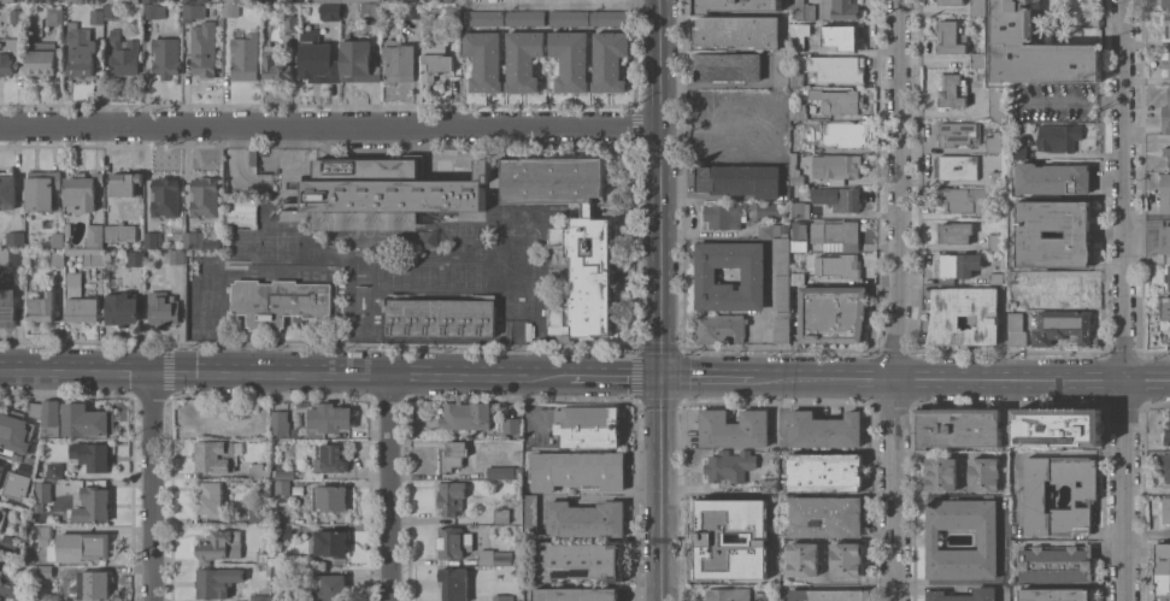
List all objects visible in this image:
building: (23, 0)
building: (69, 0)
building: (120, 0)
building: (154, 0)
building: (221, 0)
building: (284, 0)
building: (328, 0)
building: (408, 0)
building: (7, 1)
building: (196, 1)
building: (235, 1)
building: (361, 1)
building: (388, 1)
building: (453, 1)
road: (562, 1)
building: (951, 1)
building: (1166, 4)
building: (733, 5)
building: (978, 7)
building: (233, 8)
building: (840, 10)
building: (112, 11)
building: (153, 11)
building: (192, 11)
building: (331, 11)
building: (372, 11)
building: (413, 11)
building: (801, 11)
building: (98, 14)
building: (16, 16)
building: (54, 16)
building: (454, 16)
building: (610, 17)
building: (484, 18)
building: (525, 18)
building: (570, 18)
building: (976, 22)
building: (1168, 23)
building: (739, 31)
building: (799, 36)
building: (842, 36)
building: (952, 37)
building: (81, 48)
building: (204, 49)
building: (1036, 49)
building: (124, 53)
building: (8, 54)
building: (166, 57)
building: (245, 57)
building: (42, 58)
building: (318, 59)
building: (524, 59)
building: (571, 59)
building: (359, 60)
building: (399, 60)
building: (484, 60)
building: (610, 60)
building: (978, 60)
building: (277, 64)
road: (658, 64)
building: (436, 65)
building: (728, 66)
building: (1166, 66)
building: (837, 67)
building: (782, 70)
building: (796, 79)
building: (953, 90)
building: (837, 101)
road: (1070, 101)
building: (995, 102)
building: (733, 110)
building: (798, 111)
building: (1166, 117)
road: (329, 126)
building: (782, 131)
building: (959, 132)
building: (839, 135)
building: (1059, 136)
building: (993, 142)
building: (798, 143)
building: (723, 147)
building: (1025, 152)
building: (1166, 153)
building: (253, 157)
building: (836, 167)
building: (958, 167)
building: (794, 171)
building: (996, 178)
building: (1053, 178)
building: (740, 179)
building: (127, 183)
building: (8, 189)
building: (42, 189)
building: (83, 190)
building: (1165, 193)
building: (205, 196)
building: (165, 198)
building: (958, 198)
building: (837, 199)
building: (768, 210)
building: (799, 210)
building: (241, 213)
building: (724, 216)
building: (67, 230)
building: (774, 230)
building: (120, 232)
building: (835, 232)
building: (954, 232)
building: (1030, 234)
building: (95, 235)
building: (799, 235)
building: (16, 238)
building: (152, 238)
building: (194, 238)
building: (1165, 238)
building: (58, 240)
building: (995, 242)
building: (589, 251)
road: (658, 252)
building: (12, 257)
building: (94, 257)
building: (58, 258)
building: (136, 259)
building: (839, 265)
building: (957, 265)
building: (782, 273)
building: (753, 276)
building: (1168, 277)
building: (798, 278)
building: (995, 278)
building: (1021, 278)
building: (1057, 290)
road: (899, 300)
road: (1121, 300)
building: (81, 301)
building: (278, 301)
building: (7, 302)
road: (523, 304)
building: (43, 306)
building: (123, 308)
building: (163, 308)
building: (831, 313)
building: (441, 316)
building: (945, 317)
building: (1165, 322)
building: (1063, 326)
building: (721, 328)
building: (782, 328)
building: (1017, 329)
road: (328, 373)
traffic signals: (657, 376)
road: (913, 378)
building: (35, 409)
building: (466, 416)
building: (51, 418)
building: (329, 418)
building: (87, 420)
building: (298, 420)
building: (280, 424)
building: (511, 425)
building: (588, 426)
building: (1059, 426)
building: (735, 428)
building: (958, 428)
building: (825, 430)
building: (16, 432)
building: (295, 432)
building: (1168, 436)
building: (775, 448)
building: (776, 454)
building: (92, 455)
building: (217, 455)
building: (452, 455)
building: (330, 458)
building: (1166, 465)
building: (730, 466)
building: (25, 470)
building: (577, 470)
building: (54, 471)
building: (259, 471)
building: (824, 471)
building: (1, 472)
building: (504, 472)
building: (283, 473)
building: (984, 473)
building: (941, 475)
road: (154, 485)
building: (770, 485)
building: (63, 487)
building: (283, 487)
road: (389, 488)
road: (657, 488)
building: (298, 490)
building: (1084, 491)
building: (41, 495)
building: (330, 497)
building: (452, 497)
road: (592, 497)
building: (210, 499)
building: (95, 503)
building: (1166, 509)
building: (510, 511)
building: (531, 513)
building: (2, 514)
building: (258, 514)
building: (728, 514)
building: (825, 515)
building: (39, 519)
building: (587, 519)
building: (770, 530)
building: (283, 531)
road: (1146, 534)
building: (45, 535)
building: (987, 538)
building: (10, 542)
building: (329, 542)
building: (453, 542)
building: (219, 546)
building: (83, 547)
building: (264, 555)
building: (729, 556)
building: (496, 558)
building: (804, 559)
building: (847, 559)
building: (582, 560)
building: (1056, 562)
building: (45, 571)
building: (1163, 572)
building: (769, 573)
building: (278, 579)
building: (217, 582)
building: (454, 583)
building: (96, 585)
building: (8, 587)
building: (329, 587)
building: (577, 594)
building: (728, 594)
building: (1056, 594)
building: (830, 595)
building: (964, 595)
building: (770, 596)
building: (0, 597)
building: (261, 597)
building: (502, 597)

